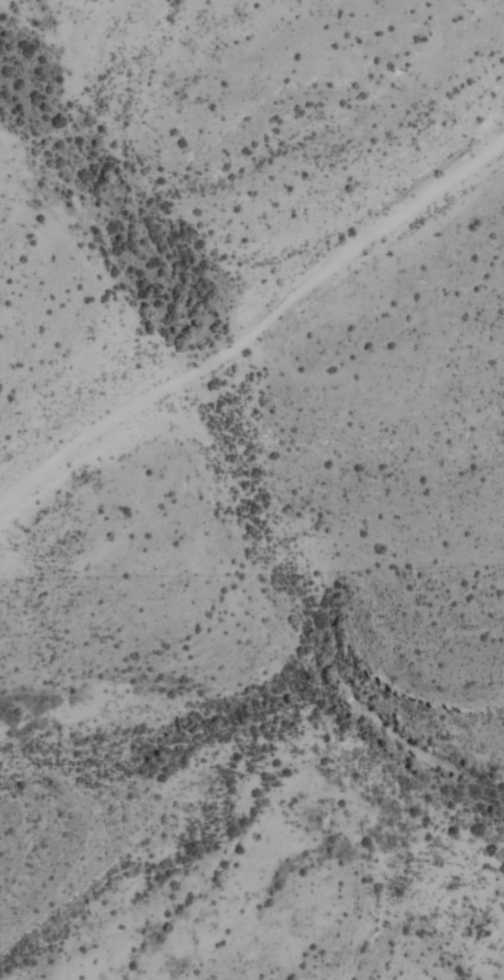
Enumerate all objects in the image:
road: (254, 326)
park: (252, 765)

